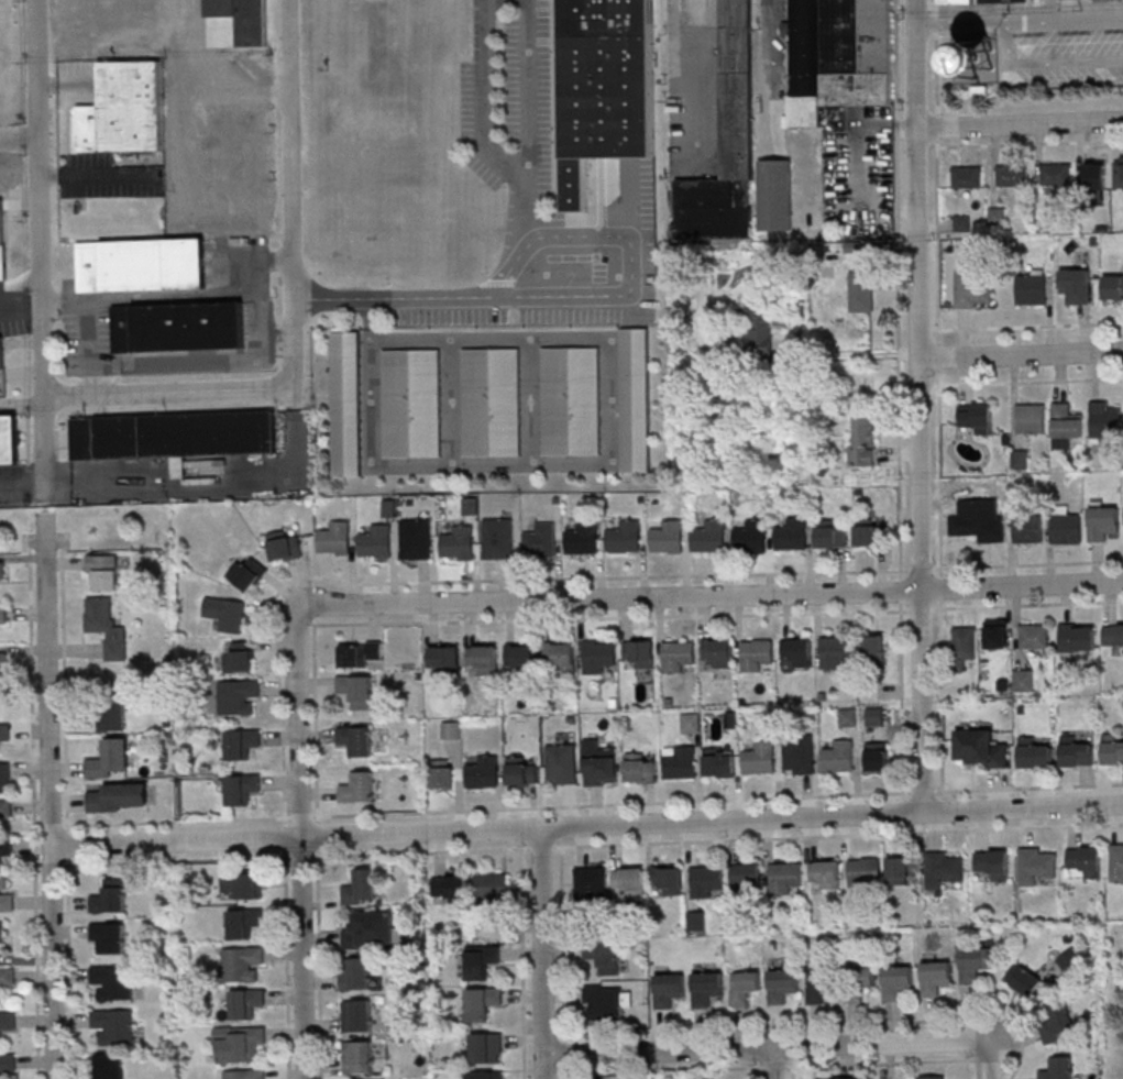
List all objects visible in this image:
building: (1008, 0)
building: (954, 1)
building: (984, 1)
road: (934, 8)
building: (244, 20)
road: (1017, 22)
road: (935, 25)
road: (707, 35)
building: (857, 52)
building: (976, 57)
water tower: (976, 58)
parking lot: (1060, 60)
building: (801, 65)
road: (936, 75)
road: (672, 79)
building: (610, 86)
road: (488, 93)
building: (123, 110)
road: (1017, 120)
road: (936, 128)
building: (726, 141)
road: (1030, 143)
road: (20, 144)
building: (1119, 172)
building: (1056, 174)
building: (1096, 175)
building: (1012, 176)
building: (967, 177)
building: (777, 195)
road: (294, 196)
road: (42, 232)
building: (1, 242)
road: (937, 242)
road: (524, 254)
building: (141, 265)
road: (630, 280)
building: (1076, 284)
building: (1032, 286)
building: (1113, 287)
road: (898, 289)
building: (861, 290)
building: (972, 290)
parking lot: (447, 313)
road: (21, 315)
building: (760, 323)
road: (1031, 326)
building: (178, 327)
road: (90, 331)
road: (857, 353)
building: (1, 354)
road: (1021, 354)
road: (938, 356)
road: (198, 360)
road: (1031, 382)
road: (170, 398)
building: (571, 400)
building: (636, 400)
building: (492, 401)
building: (346, 403)
building: (411, 403)
road: (918, 405)
building: (977, 418)
building: (1031, 418)
building: (1104, 420)
building: (1066, 426)
building: (173, 437)
building: (863, 439)
building: (9, 440)
road: (938, 473)
road: (25, 482)
building: (1102, 519)
park: (115, 521)
park: (12, 526)
building: (977, 526)
building: (1066, 527)
building: (1028, 529)
building: (869, 532)
building: (792, 533)
road: (45, 536)
building: (709, 536)
building: (830, 536)
building: (625, 537)
building: (668, 537)
building: (334, 538)
building: (750, 538)
road: (67, 539)
building: (416, 539)
building: (498, 539)
building: (540, 539)
building: (583, 539)
building: (376, 541)
building: (459, 543)
building: (285, 546)
road: (1027, 564)
road: (921, 570)
building: (102, 571)
building: (2, 572)
building: (246, 573)
road: (472, 581)
road: (940, 588)
road: (901, 591)
road: (712, 594)
road: (1027, 604)
road: (921, 610)
building: (227, 613)
building: (3, 616)
road: (511, 619)
building: (107, 626)
building: (998, 634)
building: (1113, 634)
building: (1034, 636)
building: (1077, 637)
building: (964, 646)
building: (873, 649)
building: (719, 651)
building: (836, 651)
building: (640, 652)
building: (797, 652)
building: (359, 653)
building: (758, 654)
building: (599, 656)
building: (678, 656)
building: (239, 658)
building: (520, 658)
building: (560, 658)
building: (444, 659)
building: (483, 659)
building: (3, 664)
building: (1023, 680)
road: (63, 690)
building: (356, 690)
road: (940, 695)
building: (238, 697)
road: (901, 698)
building: (111, 708)
building: (848, 716)
building: (874, 716)
building: (690, 722)
building: (451, 729)
building: (4, 733)
building: (355, 740)
building: (243, 742)
building: (981, 748)
building: (1112, 748)
building: (1033, 752)
building: (1077, 752)
building: (799, 755)
building: (839, 756)
building: (877, 757)
building: (760, 758)
building: (111, 759)
building: (680, 761)
building: (720, 761)
building: (601, 762)
building: (562, 763)
building: (639, 768)
building: (521, 771)
building: (484, 772)
building: (443, 773)
building: (4, 777)
building: (357, 786)
road: (1028, 786)
building: (242, 788)
road: (923, 792)
road: (51, 796)
building: (119, 796)
road: (32, 800)
road: (610, 804)
building: (5, 810)
road: (300, 817)
road: (177, 821)
road: (587, 825)
road: (838, 835)
road: (317, 836)
road: (284, 837)
road: (67, 845)
road: (302, 845)
road: (541, 847)
building: (5, 848)
road: (419, 852)
road: (300, 857)
road: (177, 861)
building: (993, 862)
building: (1083, 862)
building: (1116, 862)
building: (1037, 865)
building: (944, 868)
building: (902, 870)
building: (826, 872)
building: (862, 873)
building: (746, 874)
building: (669, 878)
building: (784, 878)
building: (706, 880)
building: (629, 881)
building: (363, 883)
building: (591, 884)
building: (242, 885)
building: (450, 889)
building: (491, 889)
building: (5, 895)
building: (110, 896)
building: (696, 920)
building: (244, 922)
building: (372, 929)
building: (2, 932)
building: (109, 936)
road: (562, 944)
road: (542, 953)
building: (604, 957)
building: (481, 959)
building: (1070, 961)
building: (242, 962)
building: (976, 962)
road: (318, 964)
road: (521, 964)
road: (286, 965)
road: (68, 968)
building: (355, 973)
building: (936, 977)
building: (5, 978)
building: (1023, 980)
building: (113, 981)
building: (896, 981)
building: (858, 982)
building: (782, 984)
building: (817, 986)
building: (745, 987)
building: (706, 988)
building: (669, 989)
park: (1110, 997)
building: (246, 1002)
building: (605, 1002)
building: (482, 1003)
building: (357, 1015)
building: (1059, 1022)
building: (7, 1024)
road: (819, 1025)
building: (114, 1026)
building: (239, 1043)
road: (767, 1045)
building: (487, 1047)
road: (564, 1053)
building: (357, 1057)
road: (990, 1059)
road: (772, 1061)
road: (879, 1063)
building: (8, 1065)
road: (967, 1065)
building: (109, 1066)
road: (771, 1067)
road: (792, 1068)
road: (752, 1069)
building: (1059, 1069)
road: (661, 1070)
road: (564, 1071)
building: (244, 1074)
building: (932, 1076)
building: (835, 1078)

